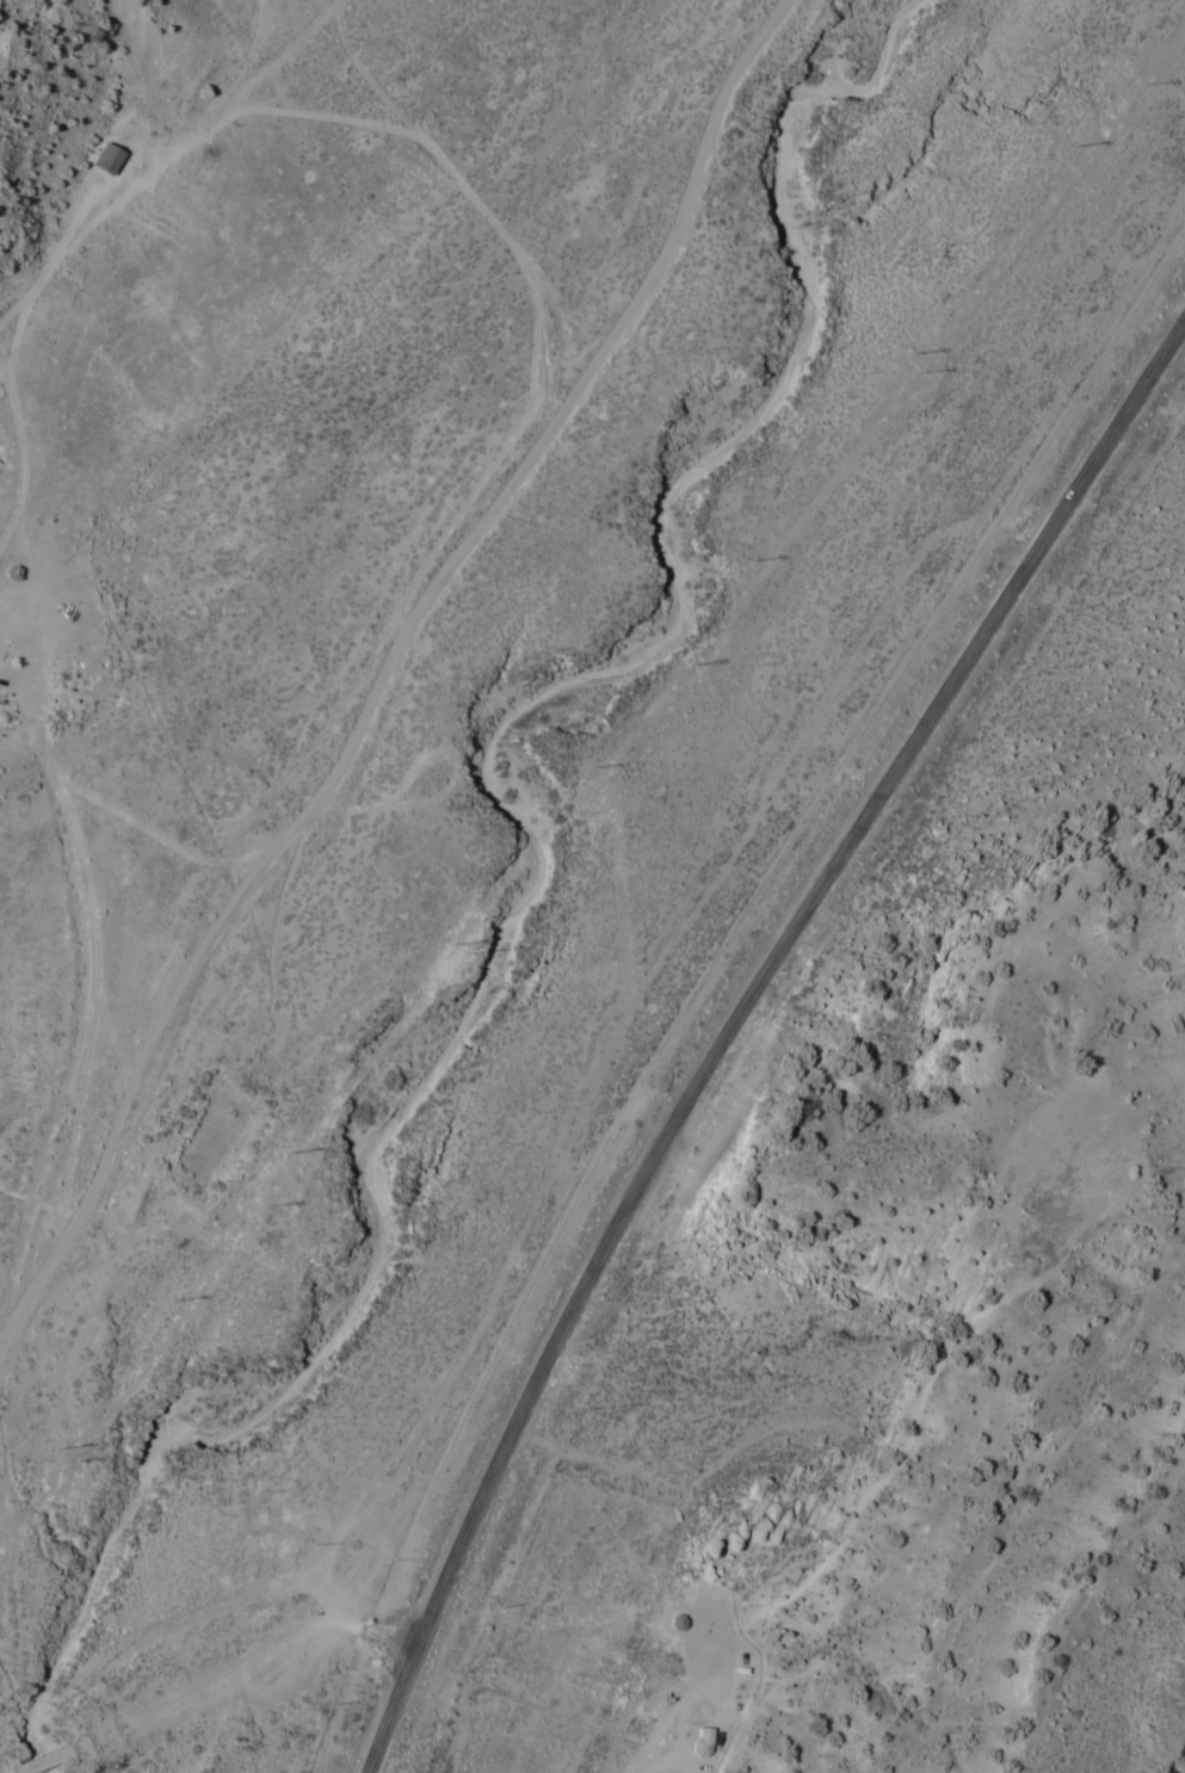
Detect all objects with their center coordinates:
building: (110, 159)
road: (350, 673)
road: (778, 968)
road: (203, 1678)
road: (389, 1707)

